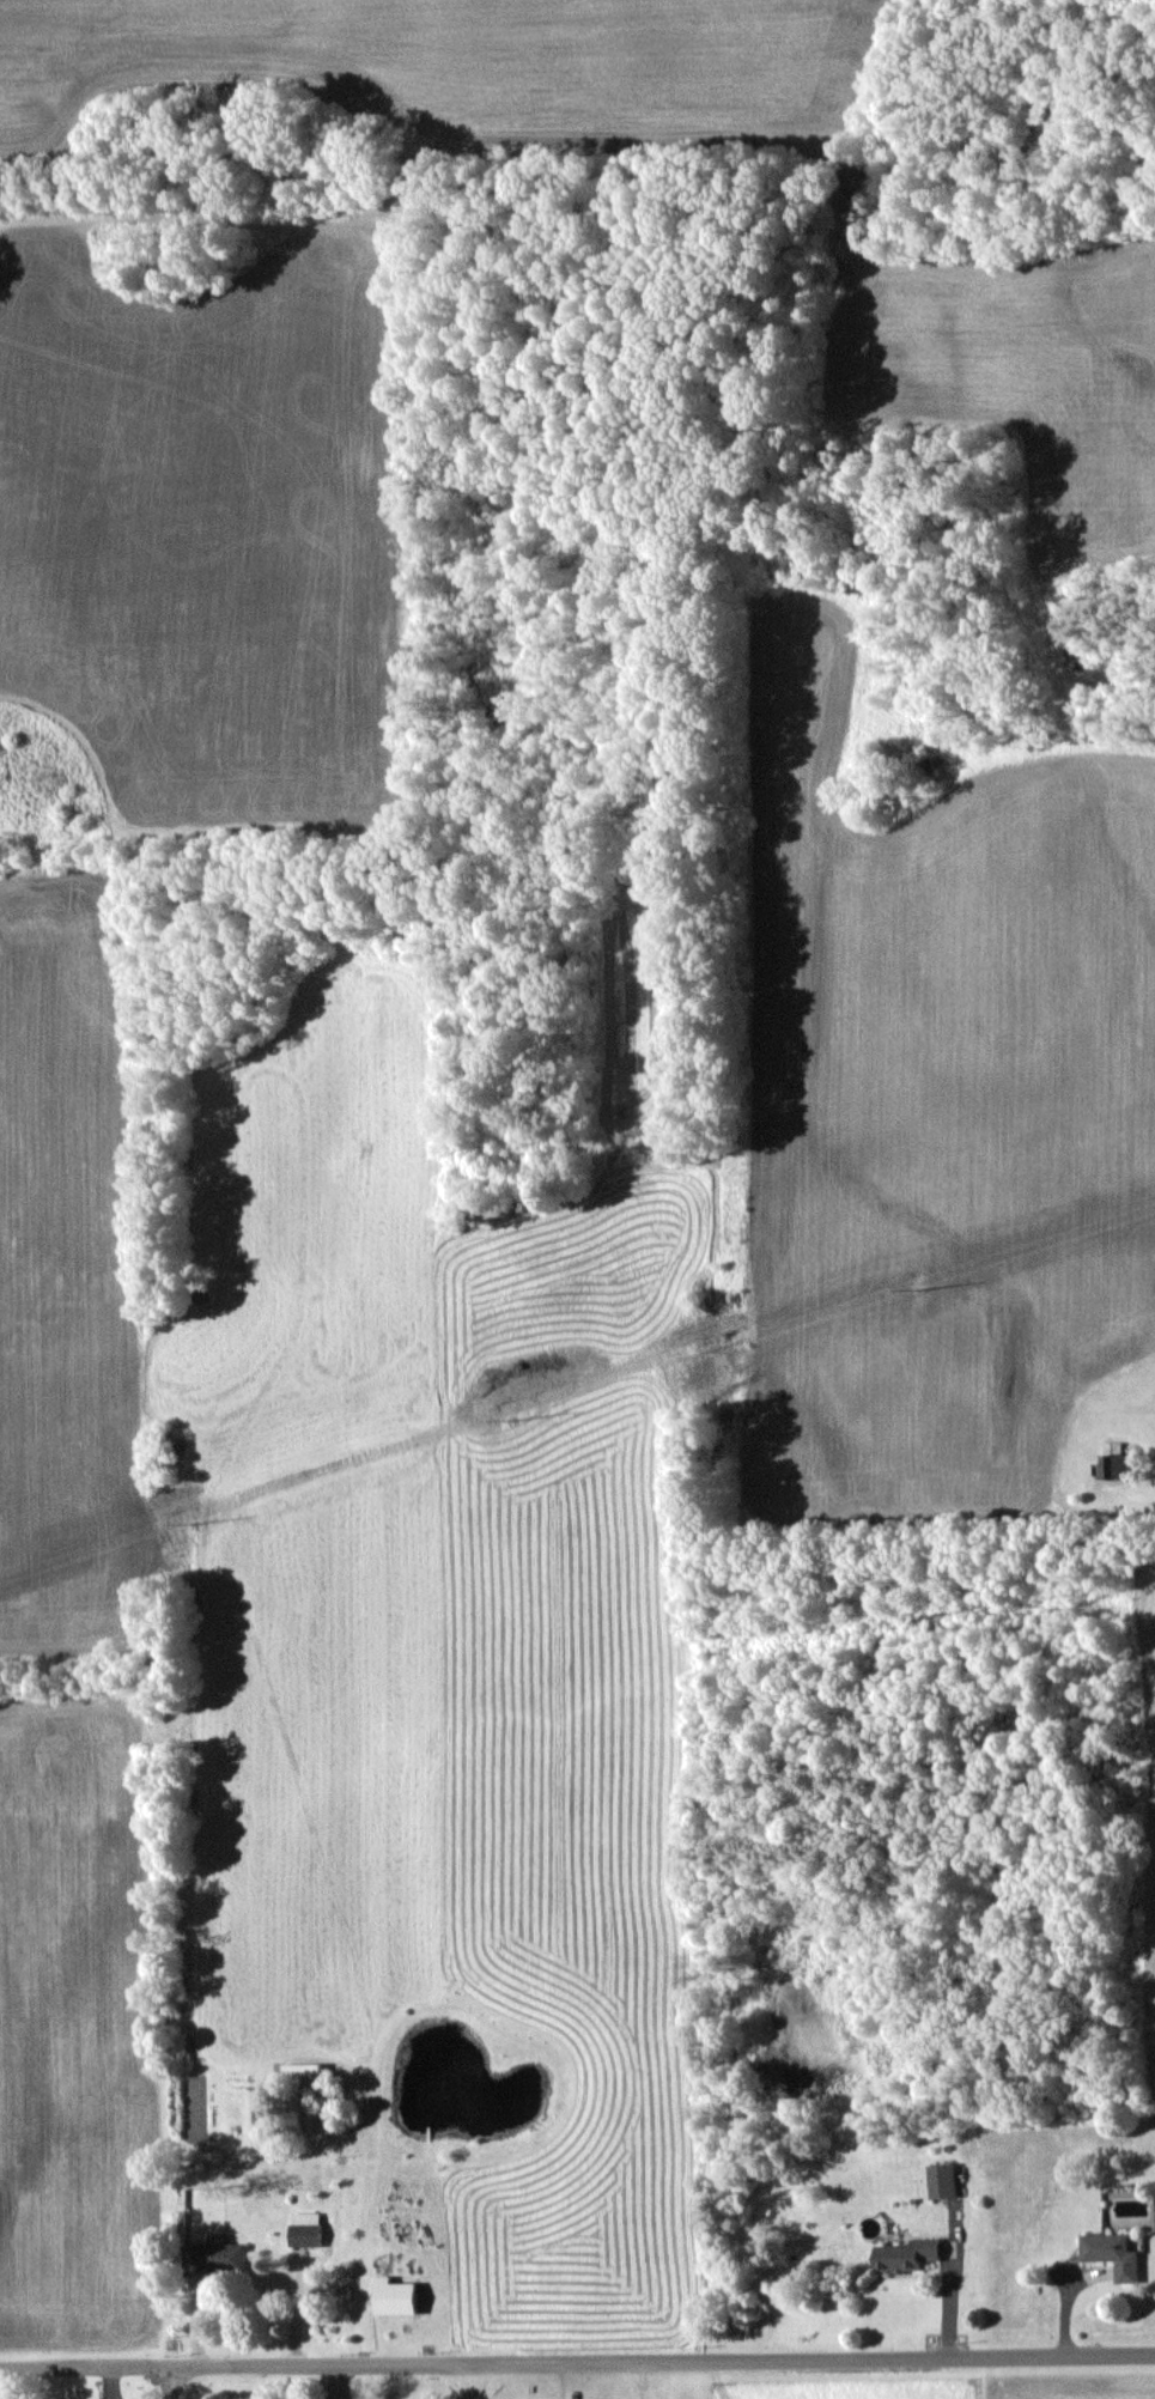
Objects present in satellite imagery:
building: (1114, 1460)
building: (942, 2180)
building: (305, 2228)
building: (906, 2253)
building: (1112, 2253)
building: (219, 2255)
building: (396, 2296)
road: (577, 2357)
road: (573, 2379)
road: (469, 2380)
road: (170, 2381)

